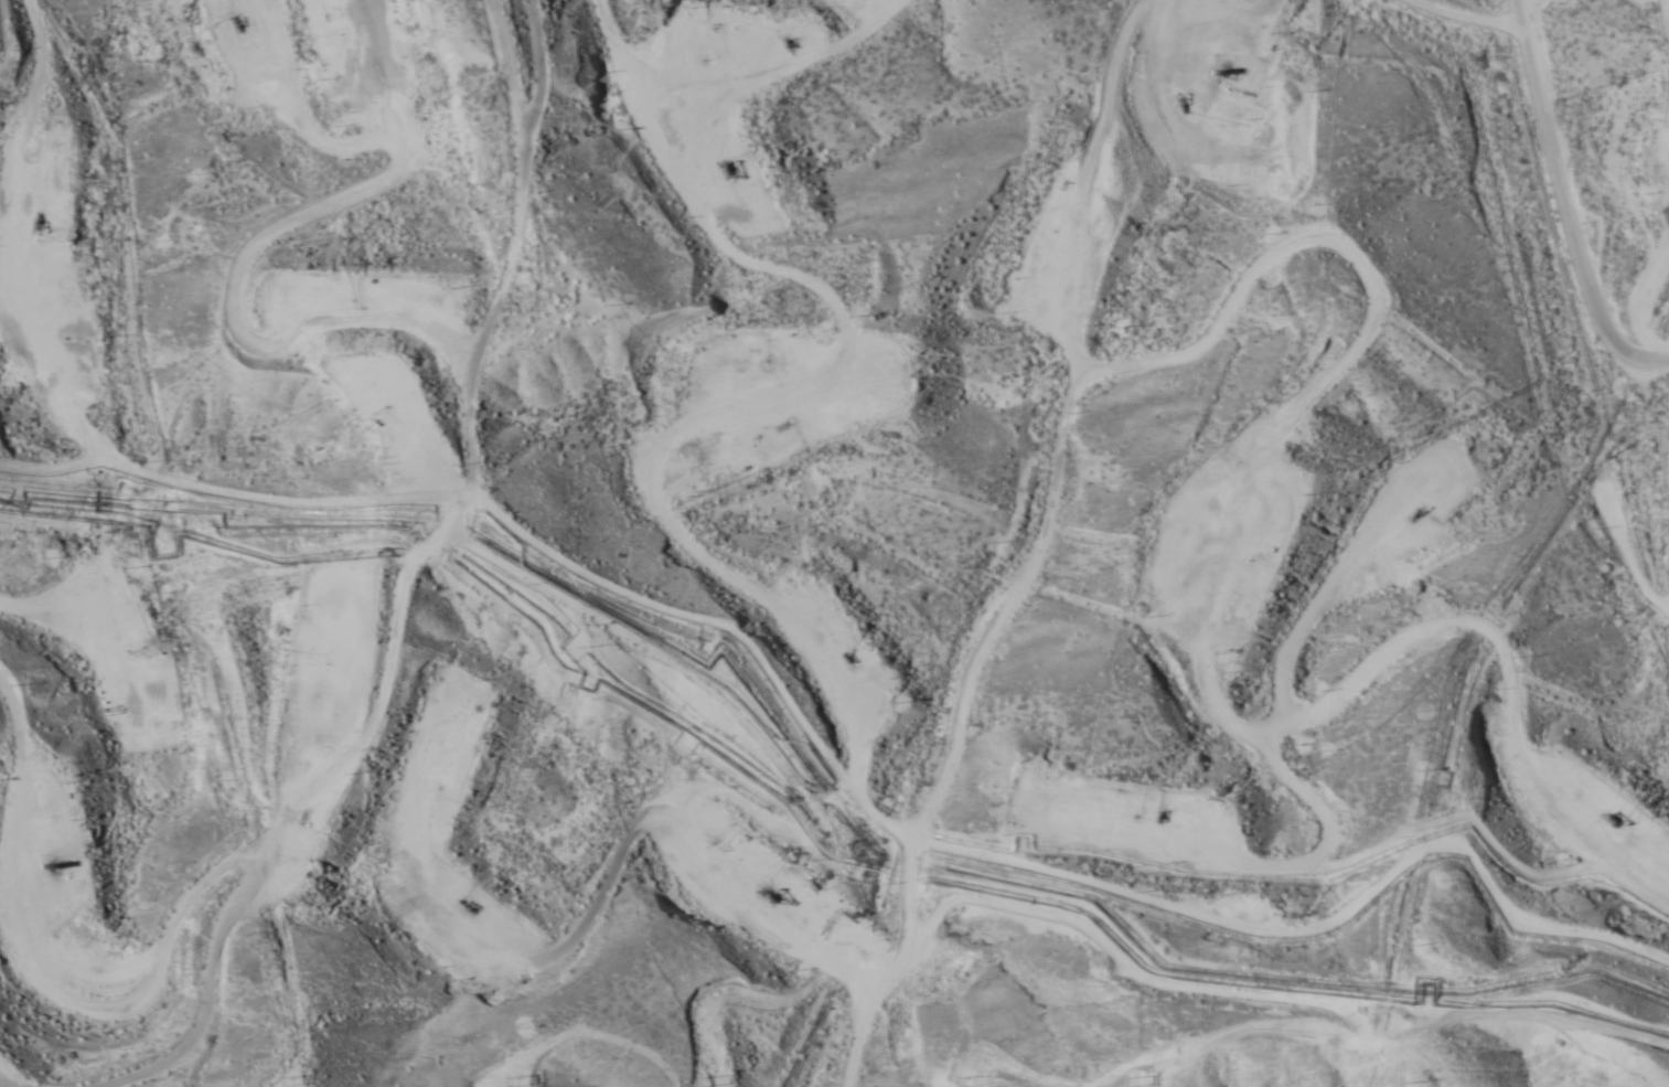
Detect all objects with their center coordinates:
road: (1611, 201)
road: (833, 420)
road: (1149, 445)
road: (200, 492)
road: (368, 592)
road: (780, 944)

